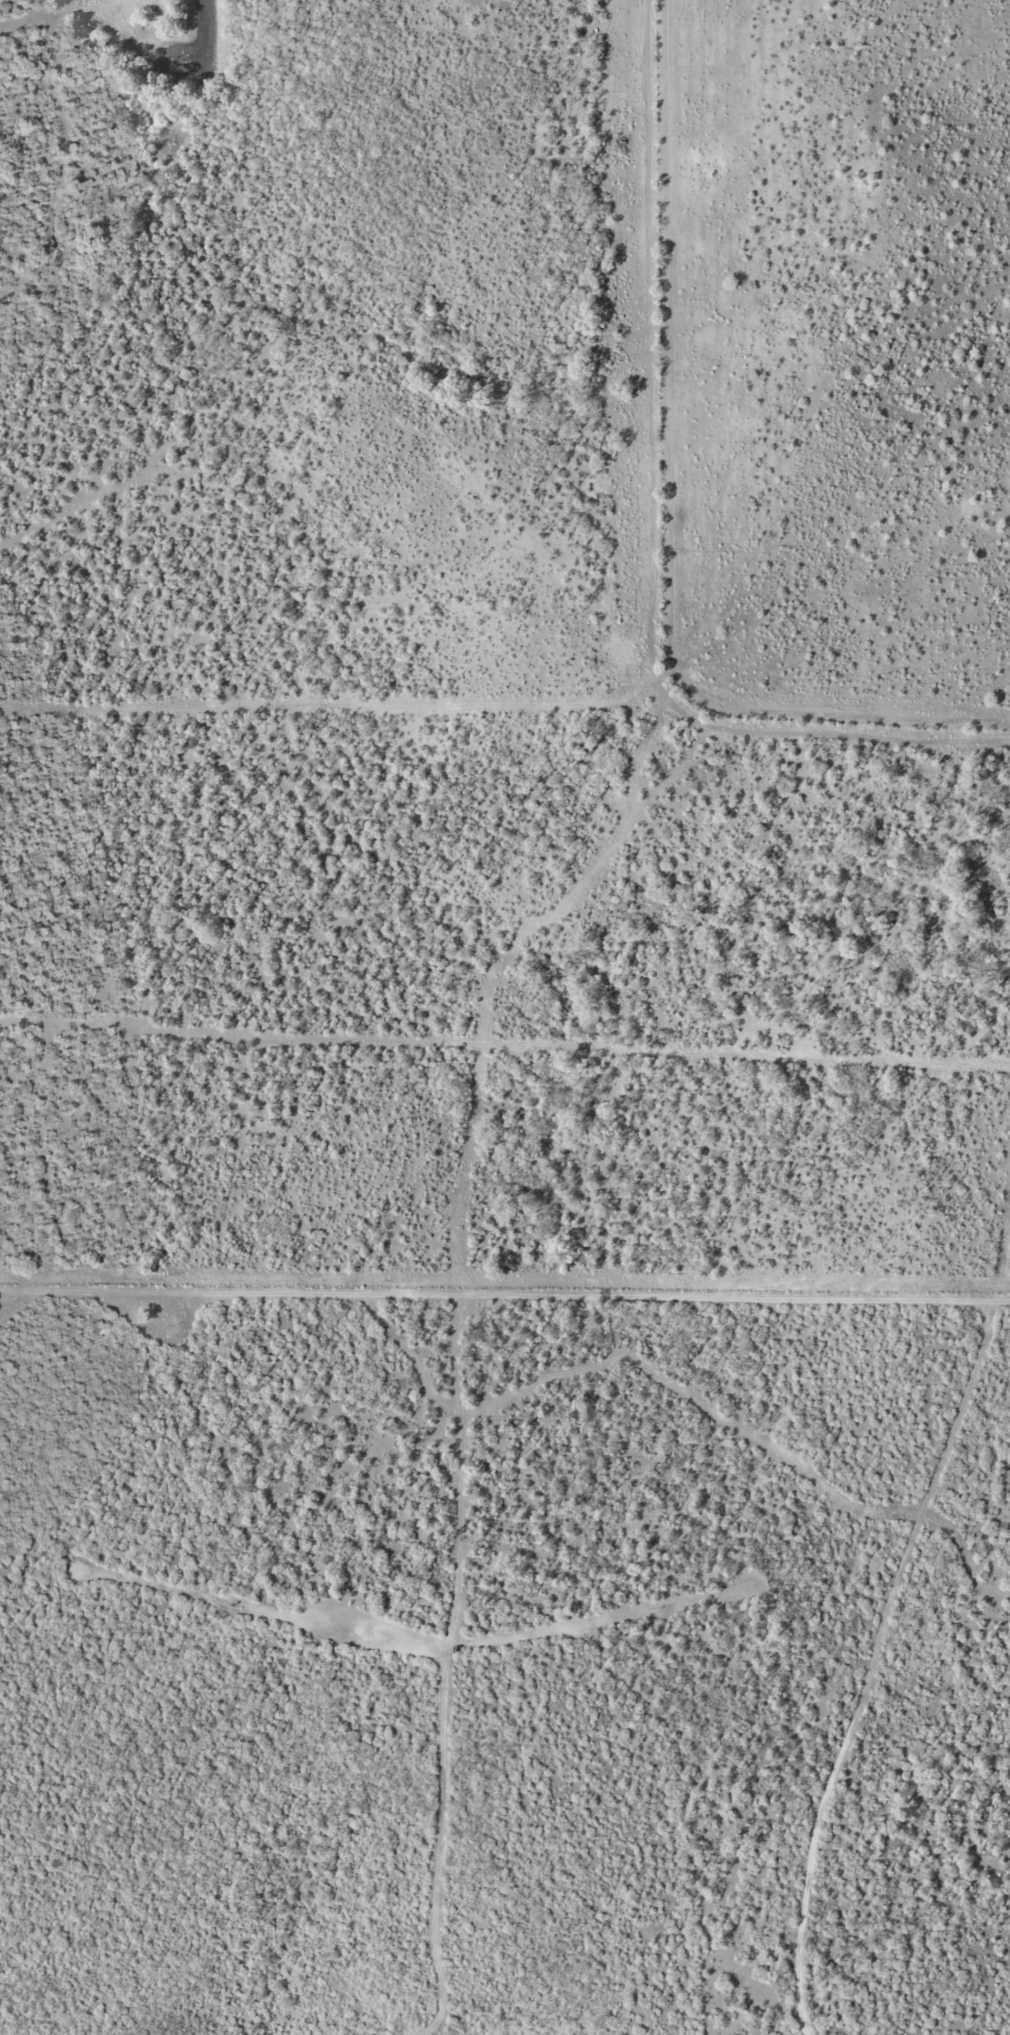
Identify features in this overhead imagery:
road: (505, 1089)

